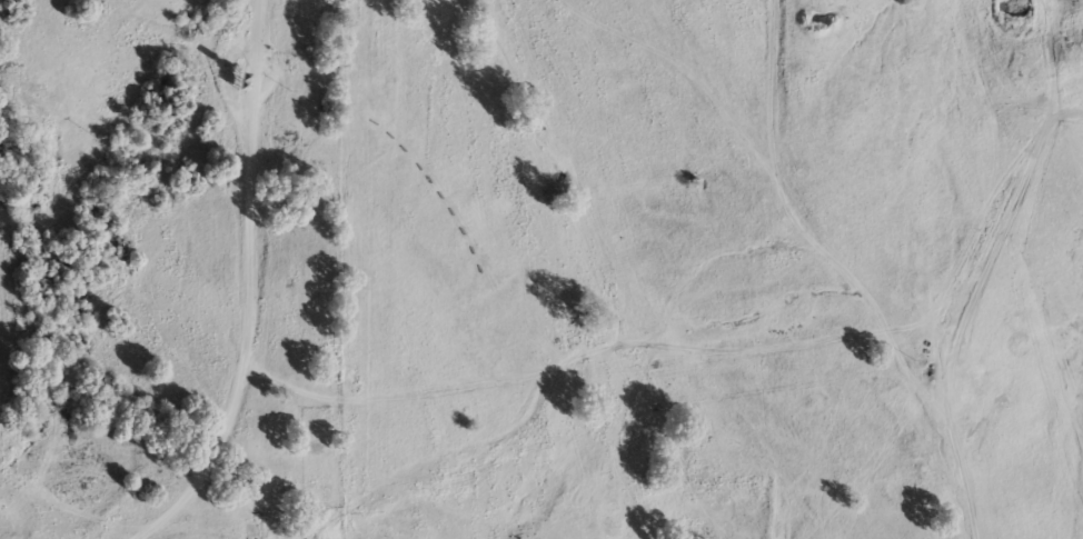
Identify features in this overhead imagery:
road: (875, 271)
road: (248, 285)

